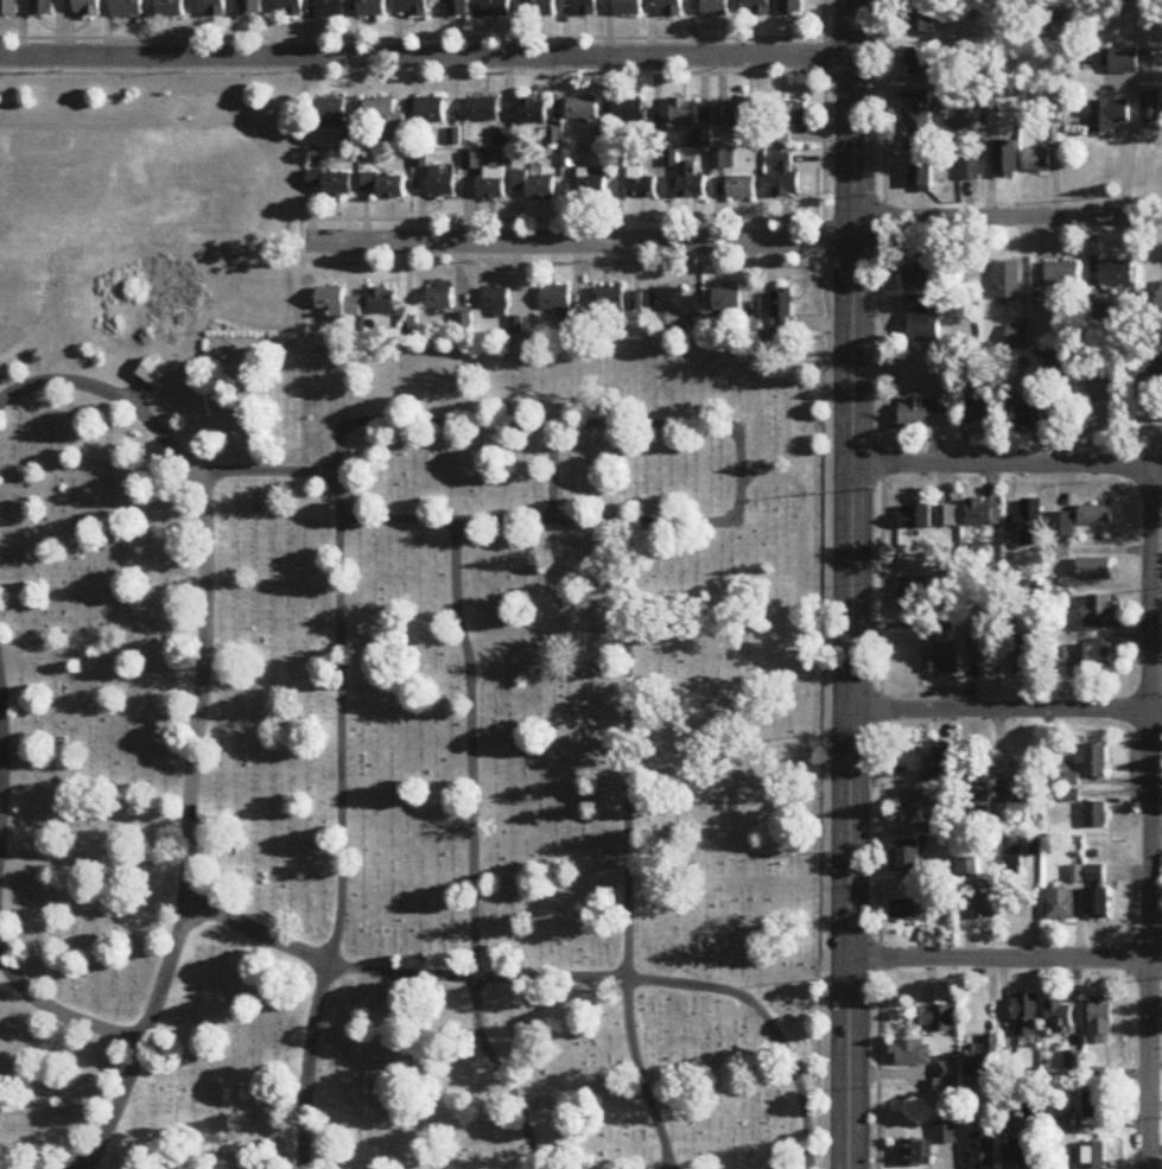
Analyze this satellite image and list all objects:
building: (790, 6)
building: (8, 7)
building: (42, 7)
building: (87, 7)
building: (127, 7)
building: (250, 7)
building: (290, 7)
building: (373, 7)
building: (414, 7)
building: (458, 7)
building: (496, 7)
building: (541, 7)
building: (584, 7)
building: (629, 7)
building: (669, 7)
building: (715, 7)
building: (756, 7)
building: (170, 8)
building: (212, 8)
building: (331, 8)
building: (953, 14)
building: (921, 21)
road: (411, 37)
road: (426, 55)
building: (1124, 61)
building: (919, 63)
road: (853, 66)
road: (411, 72)
building: (1151, 107)
building: (483, 109)
building: (583, 109)
building: (431, 110)
building: (631, 110)
building: (685, 112)
building: (533, 113)
building: (331, 114)
building: (742, 114)
building: (385, 115)
building: (1107, 116)
building: (788, 121)
building: (919, 121)
building: (1005, 161)
building: (1037, 161)
building: (971, 171)
building: (786, 176)
building: (920, 176)
building: (443, 180)
building: (332, 183)
building: (491, 183)
building: (691, 183)
building: (386, 185)
building: (536, 185)
building: (592, 185)
building: (641, 185)
building: (742, 189)
road: (1007, 217)
road: (560, 218)
road: (578, 241)
road: (496, 262)
building: (1062, 274)
building: (921, 275)
building: (1116, 275)
building: (1007, 282)
building: (442, 297)
building: (557, 298)
building: (497, 300)
building: (620, 300)
building: (729, 300)
building: (383, 301)
building: (674, 301)
building: (339, 304)
building: (1097, 306)
building: (782, 312)
building: (464, 323)
building: (926, 323)
building: (1018, 337)
building: (1158, 364)
building: (1069, 368)
building: (152, 374)
building: (984, 413)
building: (921, 414)
building: (1024, 418)
building: (1107, 419)
road: (709, 432)
road: (1007, 464)
road: (522, 468)
road: (211, 484)
building: (982, 514)
building: (946, 516)
building: (1097, 516)
building: (915, 517)
building: (1030, 523)
building: (1062, 526)
building: (1096, 571)
road: (826, 584)
road: (850, 584)
road: (880, 584)
building: (914, 599)
building: (1098, 614)
building: (1088, 655)
building: (941, 661)
park: (383, 697)
road: (1005, 709)
road: (451, 743)
building: (1093, 762)
road: (158, 763)
building: (944, 765)
building: (1011, 793)
building: (979, 802)
building: (919, 806)
building: (1096, 815)
road: (1153, 818)
road: (590, 843)
road: (298, 853)
building: (907, 859)
building: (970, 869)
building: (1098, 892)
building: (989, 900)
building: (1061, 904)
building: (912, 910)
road: (1004, 958)
road: (499, 976)
building: (1026, 1016)
building: (1059, 1016)
building: (935, 1019)
building: (1099, 1022)
building: (913, 1054)
building: (984, 1060)
building: (948, 1074)
building: (1096, 1106)
building: (1066, 1124)
building: (946, 1133)
building: (983, 1151)
building: (917, 1155)
building: (1024, 1155)
building: (1094, 1155)
building: (1066, 1158)

